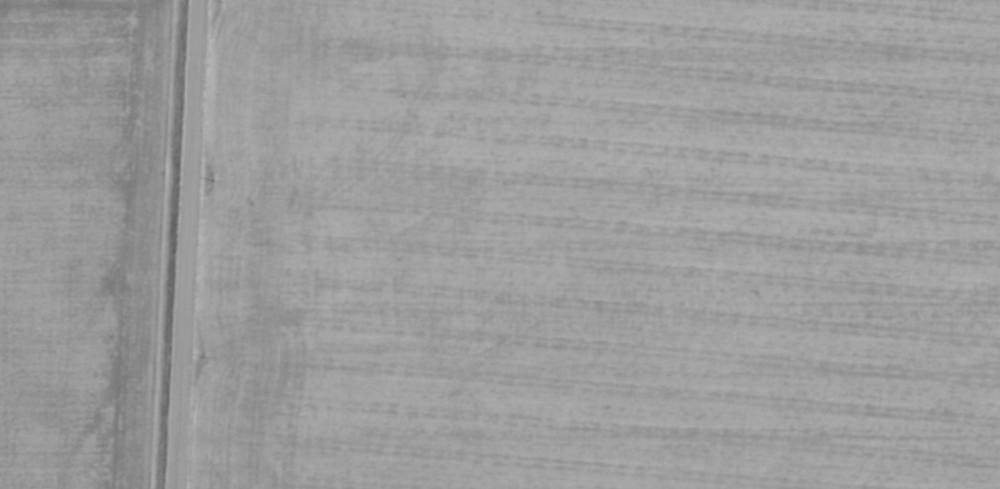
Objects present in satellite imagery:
crop: (82, 238)
road: (185, 244)
crop: (600, 245)

